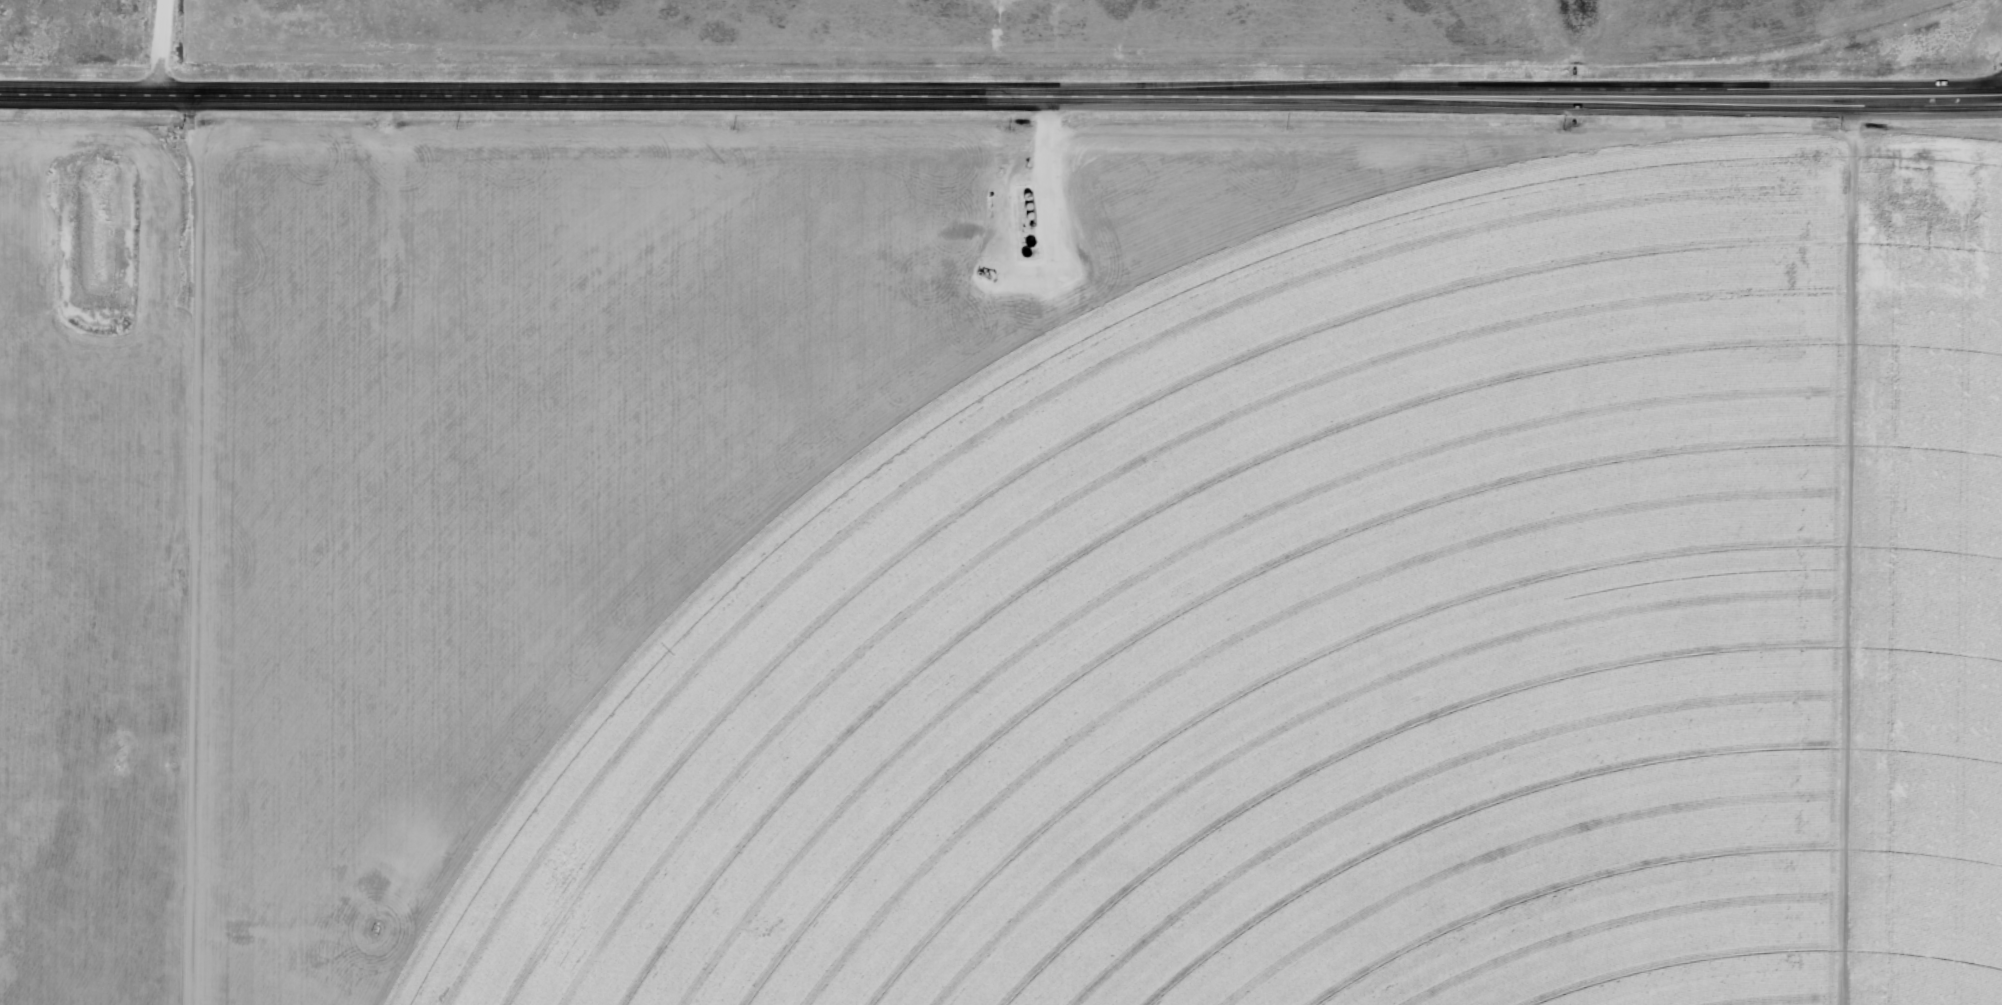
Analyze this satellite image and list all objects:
road: (177, 43)
road: (1000, 91)
road: (215, 546)

